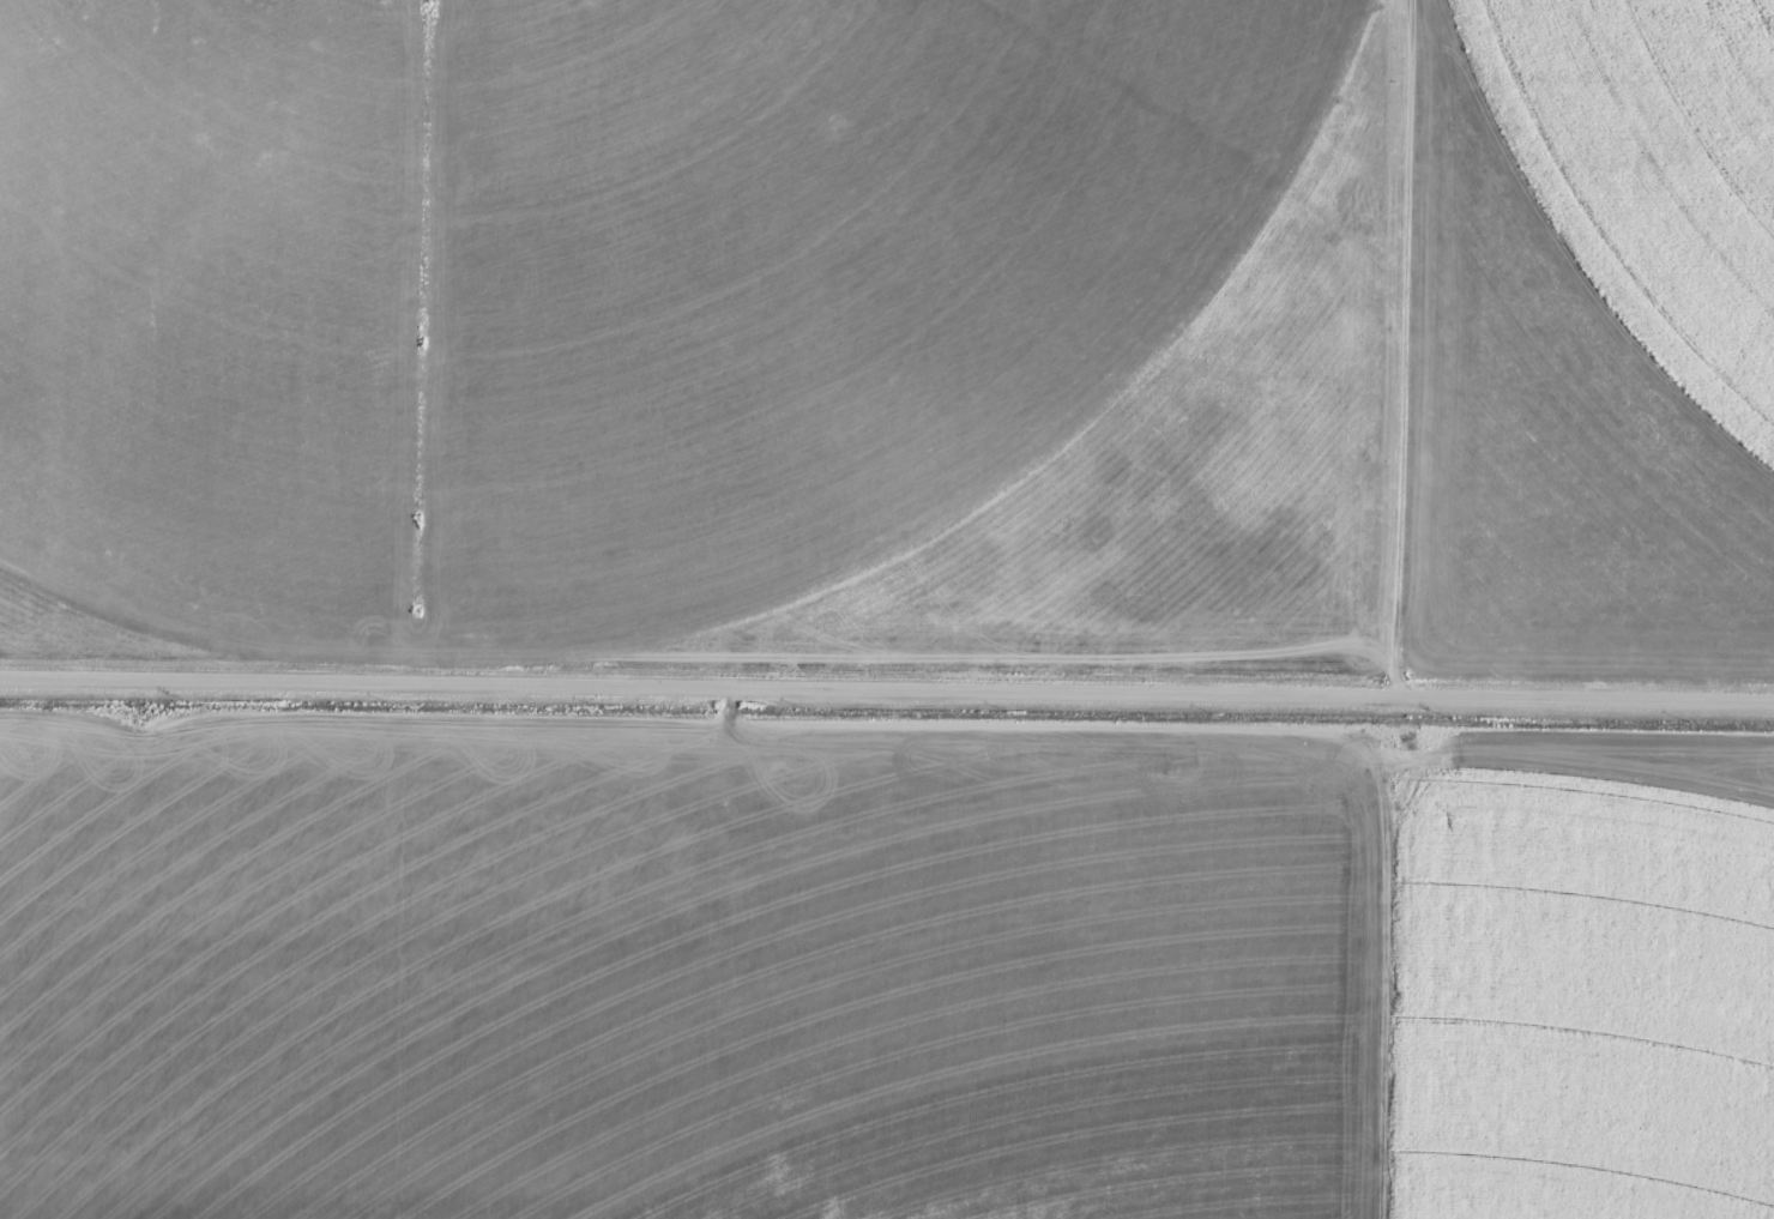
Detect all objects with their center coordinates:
road: (887, 693)

